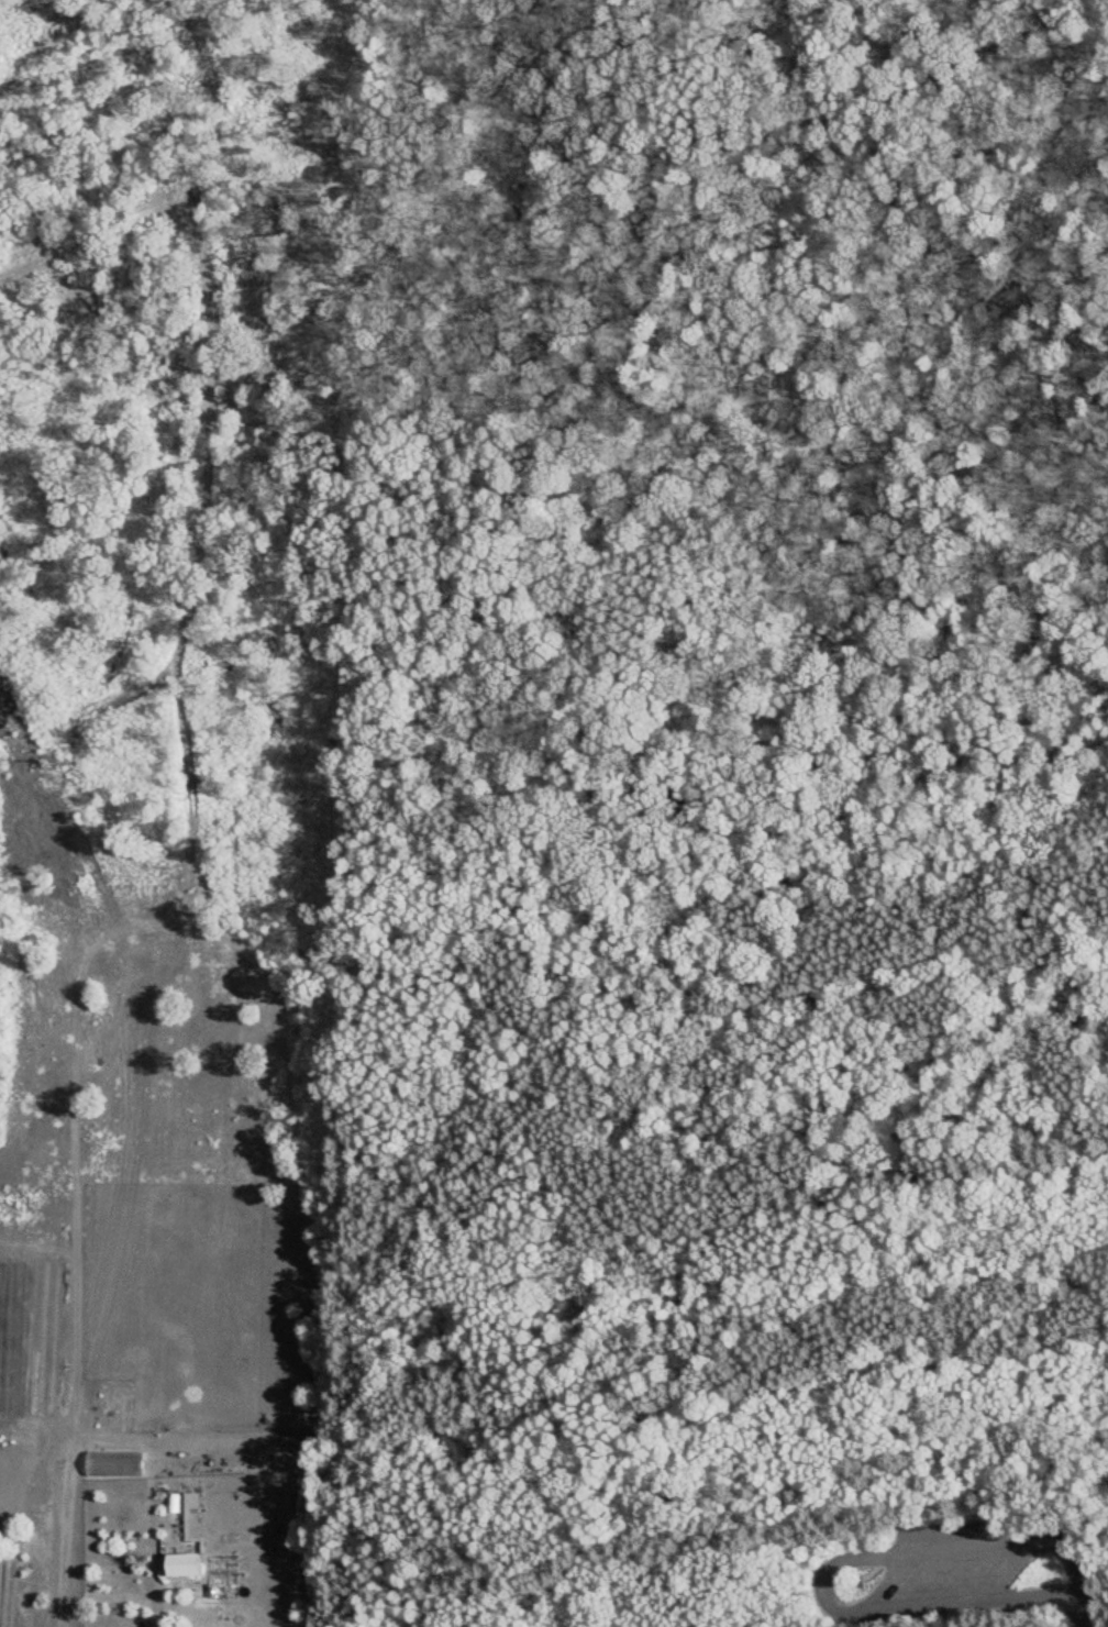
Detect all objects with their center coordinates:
road: (817, 805)
road: (584, 862)
road: (1044, 1409)
building: (298, 1487)
building: (191, 1515)
building: (181, 1563)
road: (833, 1564)
parking lot: (946, 1564)
road: (1081, 1611)
building: (146, 1623)

